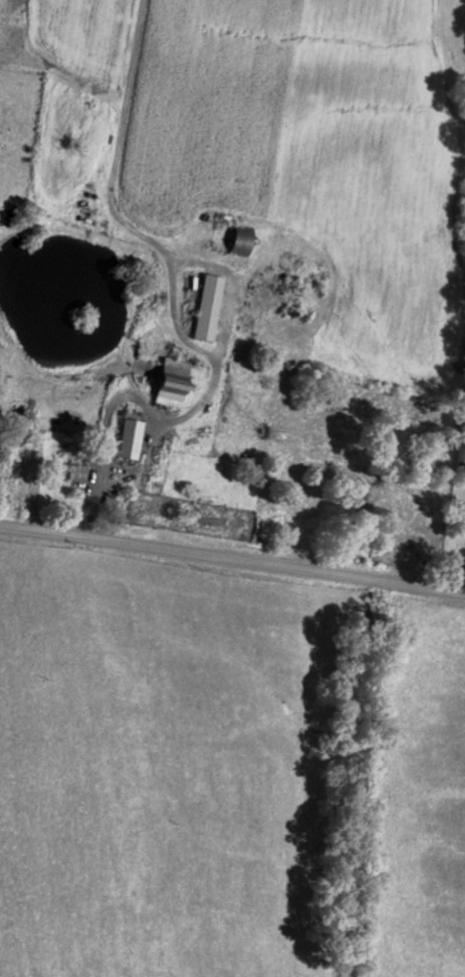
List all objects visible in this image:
building: (212, 305)
building: (176, 380)
building: (132, 435)
road: (232, 593)

